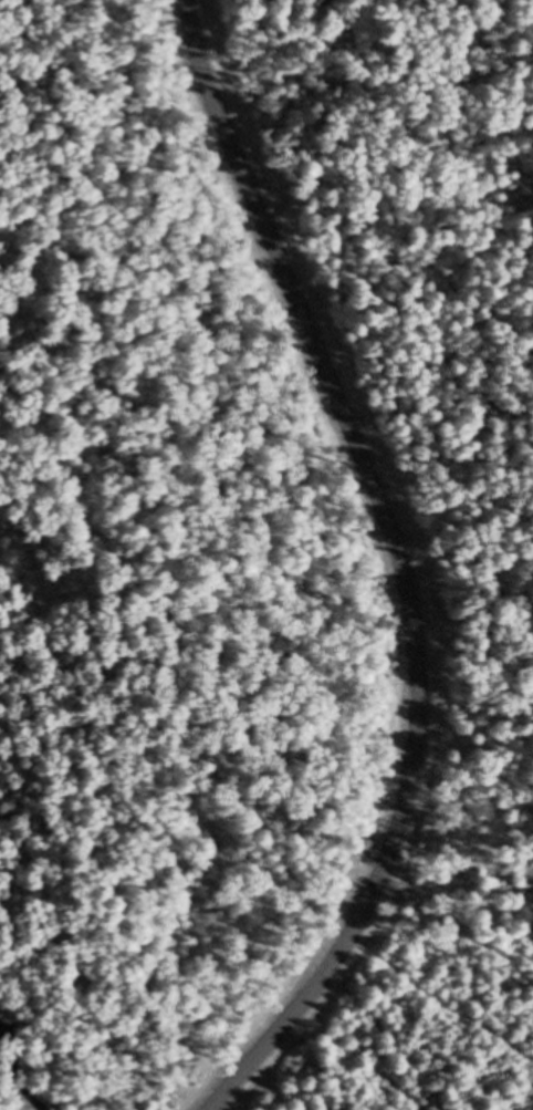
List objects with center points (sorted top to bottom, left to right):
road: (394, 567)

